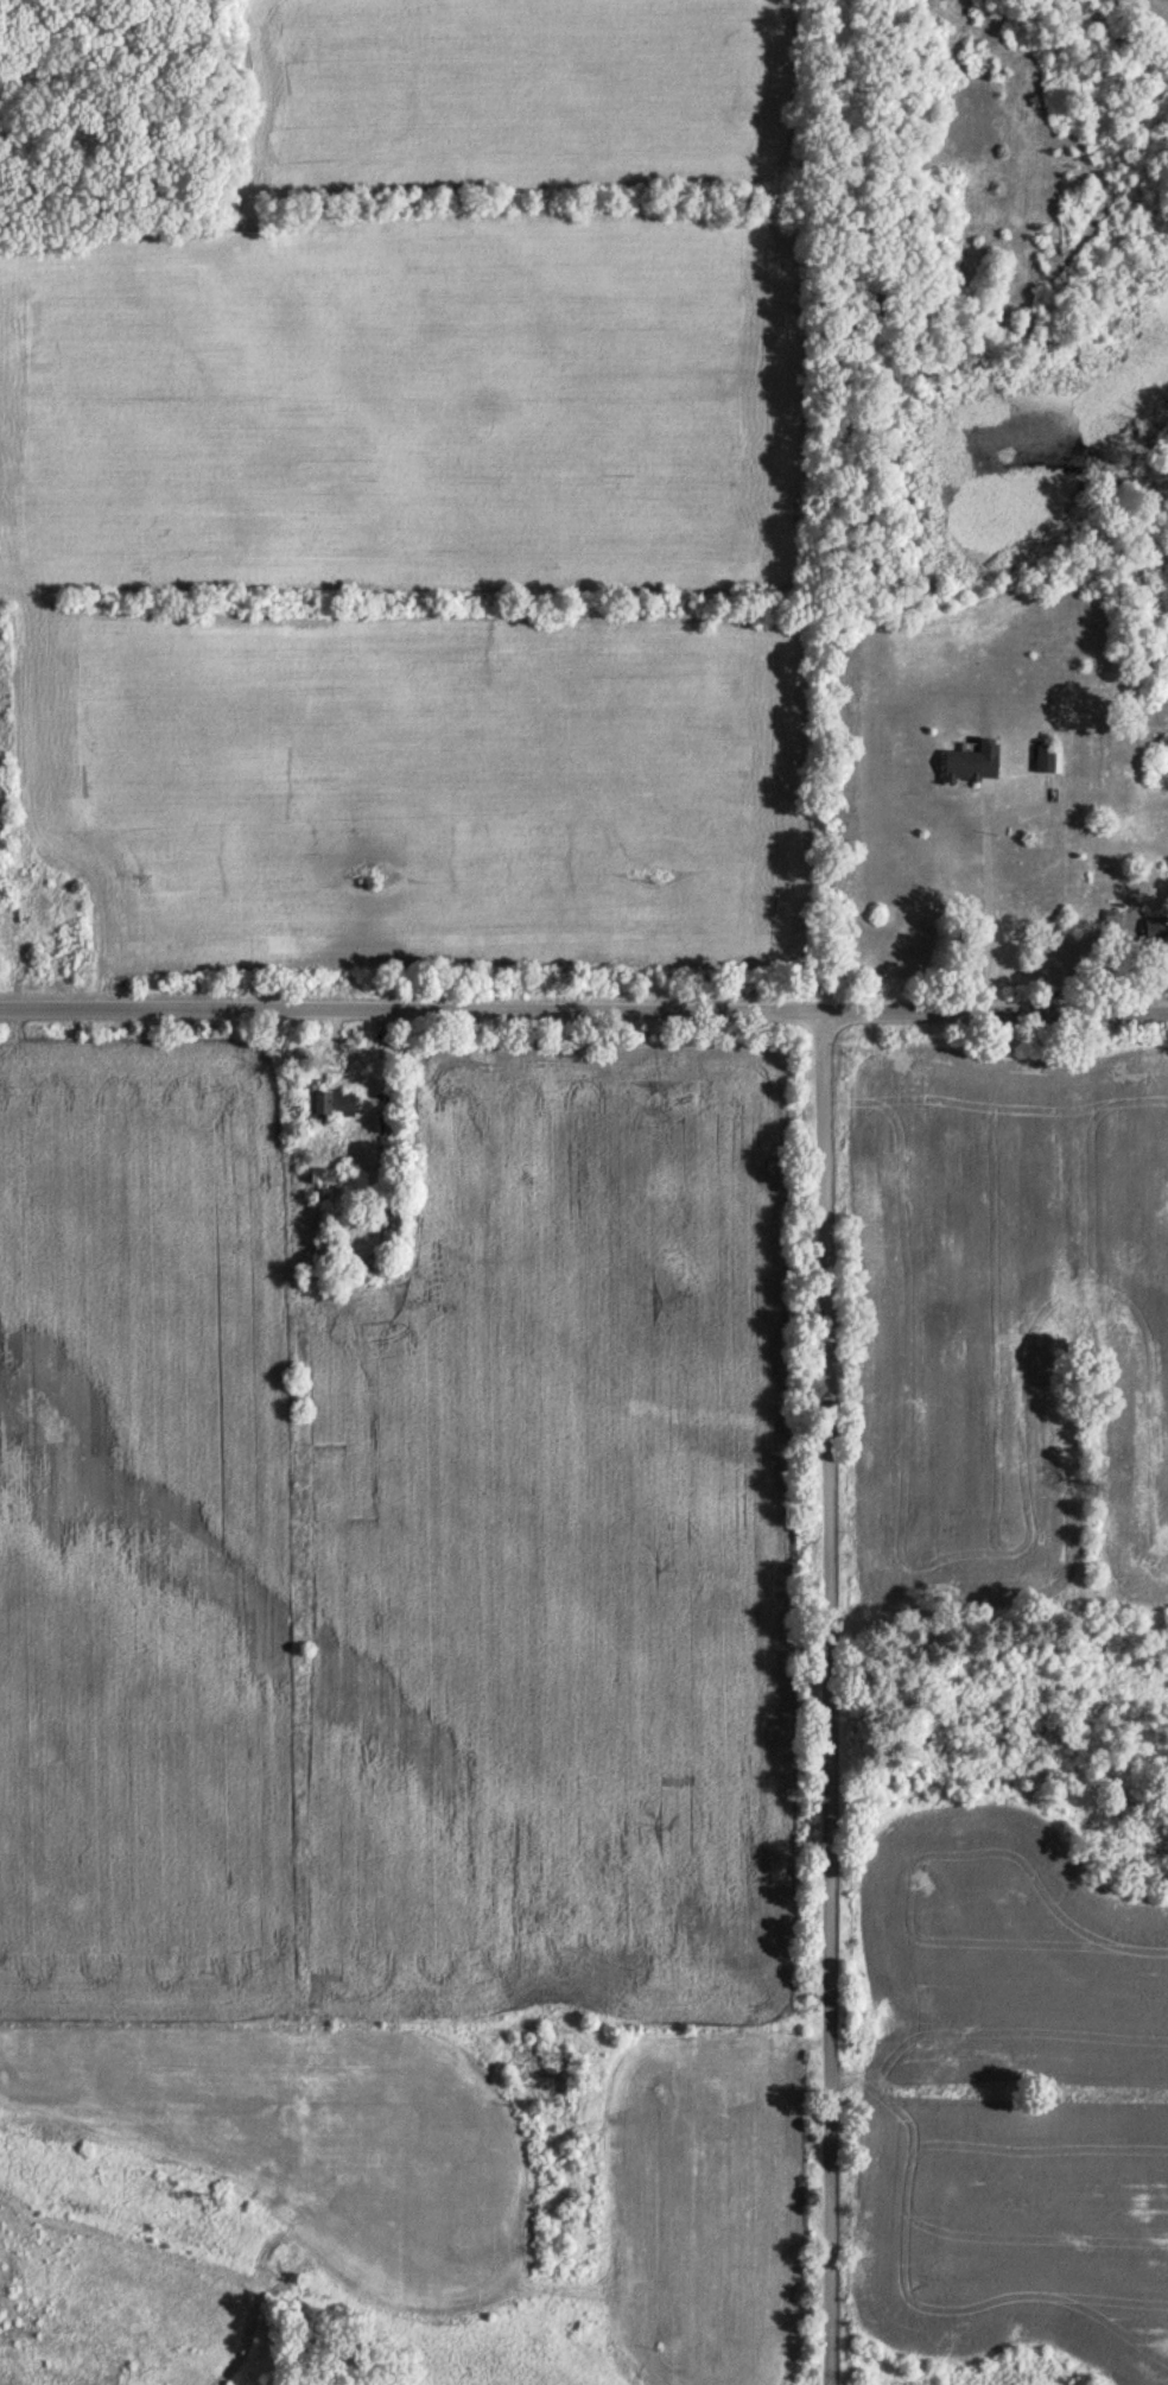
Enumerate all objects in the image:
building: (1046, 757)
building: (975, 761)
road: (583, 1019)
building: (330, 1102)
road: (829, 1701)

